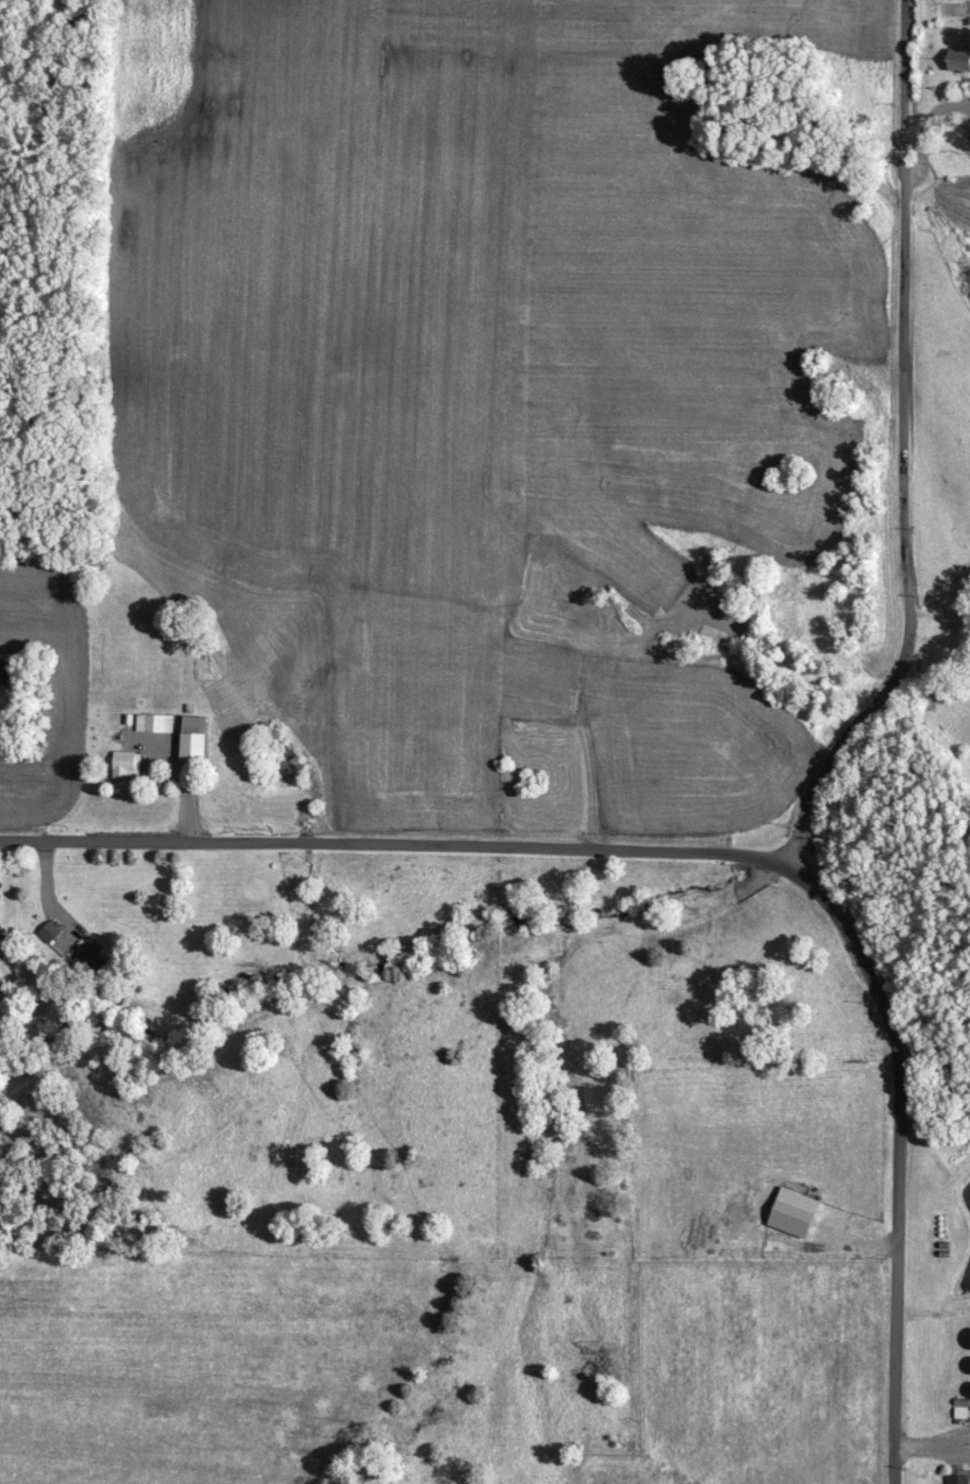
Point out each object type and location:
building: (958, 64)
road: (903, 104)
road: (937, 163)
road: (903, 547)
building: (152, 726)
building: (192, 748)
building: (124, 767)
road: (727, 851)
building: (46, 935)
building: (1, 947)
building: (791, 1216)
building: (959, 1411)
building: (955, 1481)

